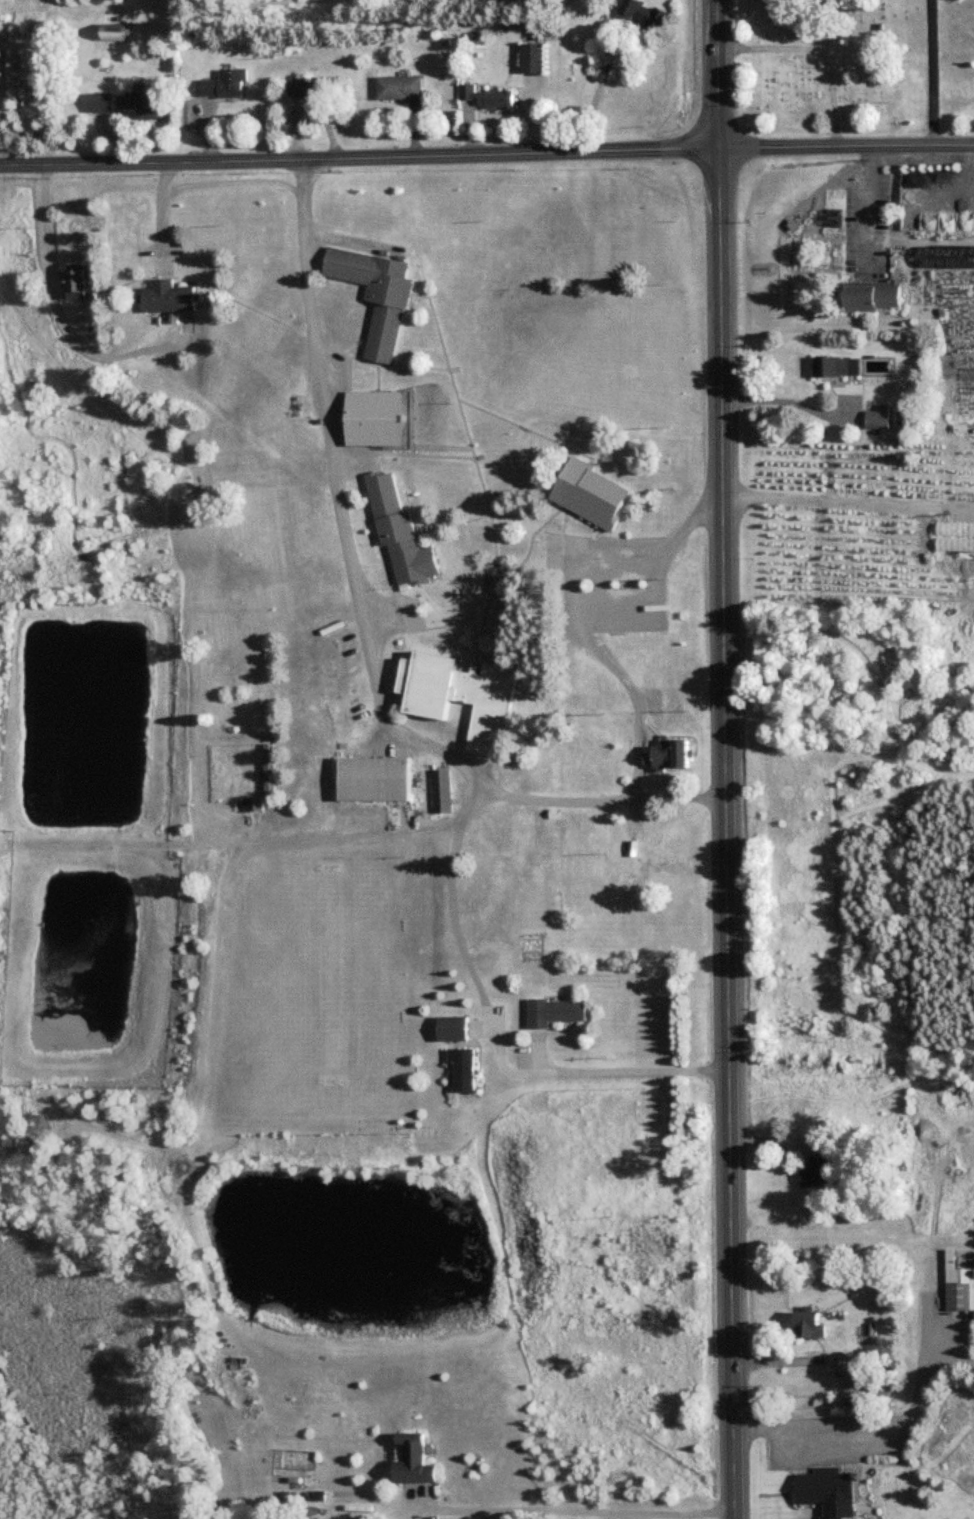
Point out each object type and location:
building: (643, 12)
building: (113, 33)
building: (531, 55)
park: (852, 66)
building: (224, 83)
building: (307, 85)
building: (398, 86)
building: (485, 96)
building: (99, 101)
building: (141, 102)
road: (486, 153)
road: (863, 207)
road: (157, 214)
building: (75, 280)
building: (374, 294)
building: (869, 294)
building: (167, 296)
building: (964, 344)
road: (132, 358)
building: (834, 365)
road: (782, 412)
building: (374, 418)
building: (875, 418)
road: (331, 486)
building: (588, 492)
road: (845, 504)
building: (397, 531)
road: (638, 611)
building: (791, 655)
road: (625, 685)
building: (459, 694)
building: (668, 753)
road: (720, 759)
building: (268, 768)
building: (374, 777)
building: (440, 790)
road: (677, 800)
building: (250, 803)
building: (652, 850)
building: (553, 1011)
building: (452, 1027)
road: (492, 1032)
building: (462, 1067)
building: (813, 1172)
building: (958, 1284)
building: (809, 1323)
building: (880, 1385)
road: (846, 1386)
road: (812, 1430)
parking lot: (835, 1439)
park: (860, 1455)
building: (411, 1458)
building: (825, 1490)
road: (576, 1515)

